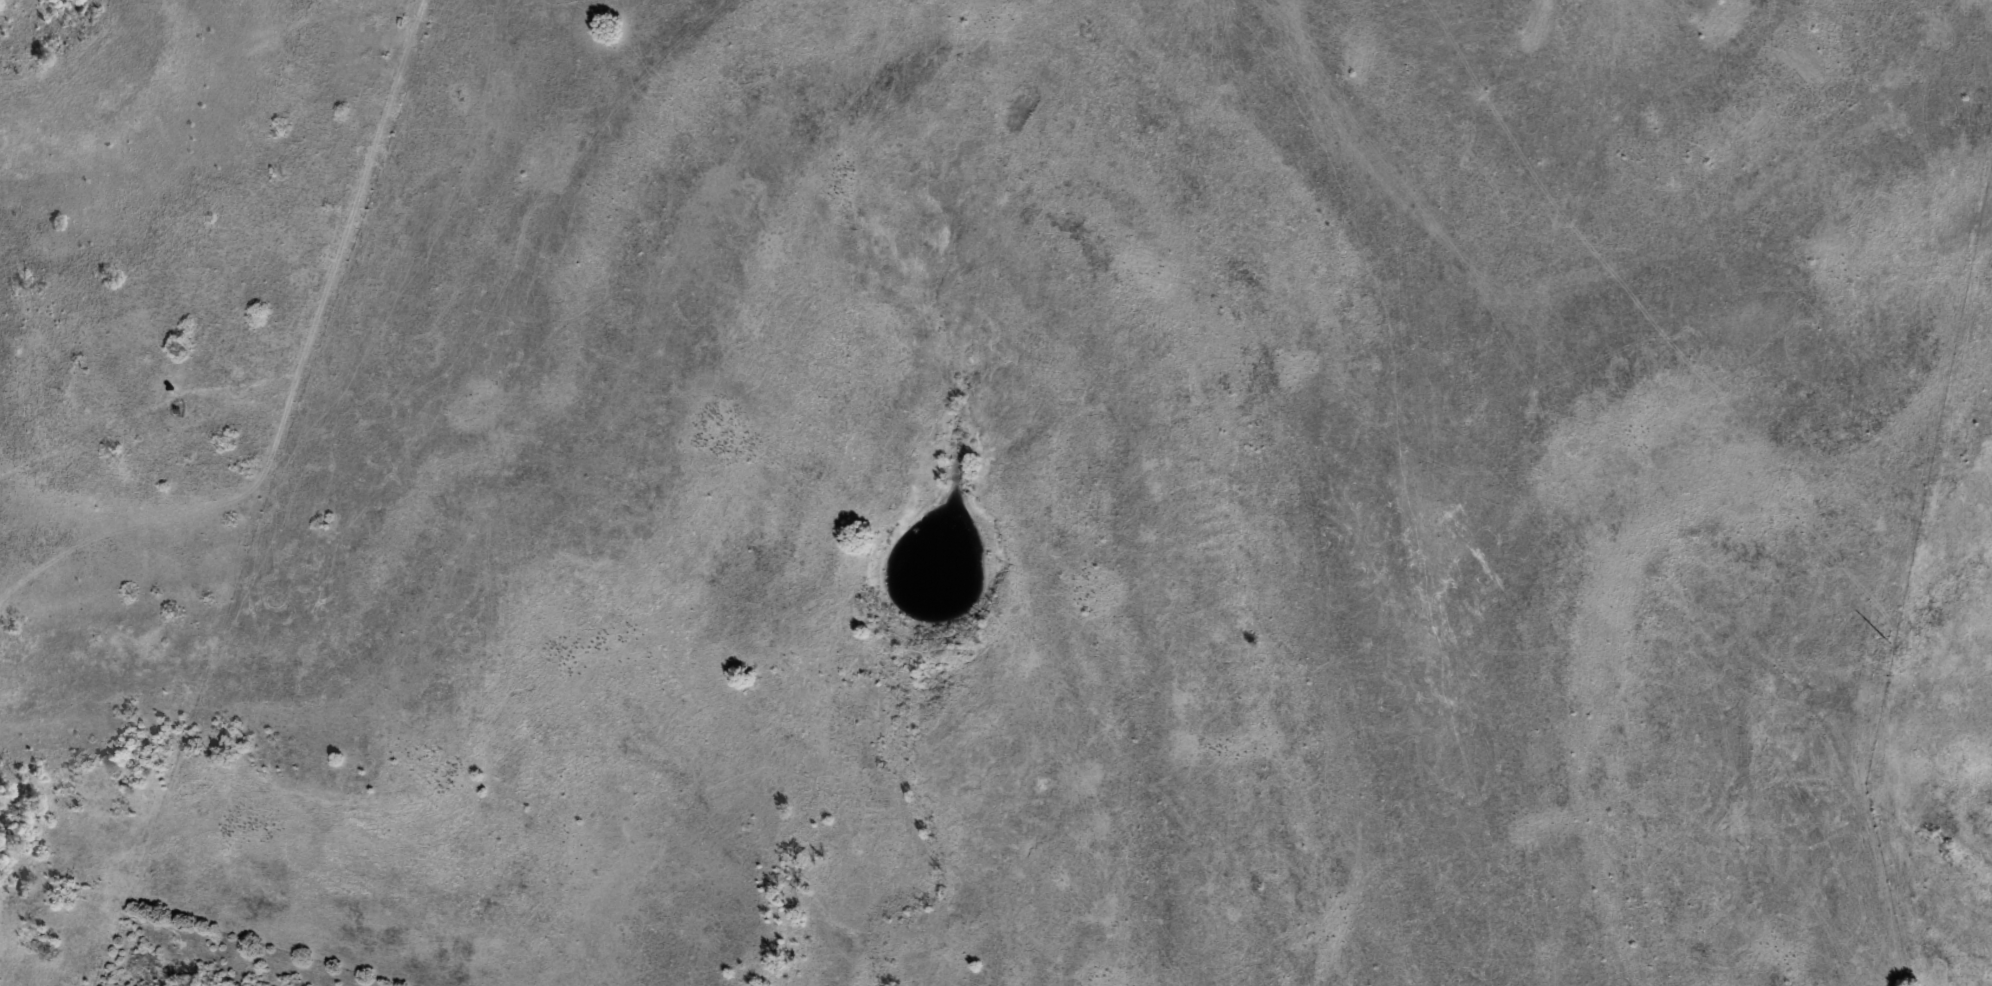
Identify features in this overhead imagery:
power tower: (1887, 639)

